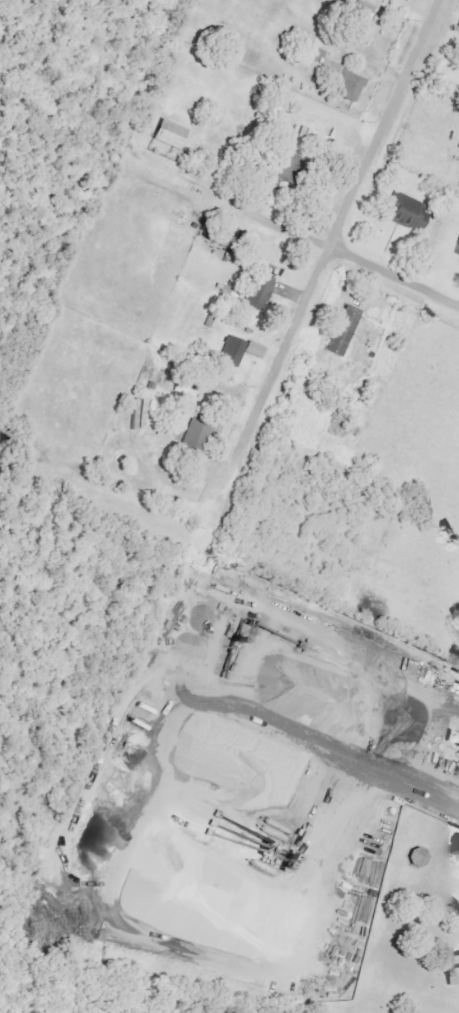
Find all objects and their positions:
building: (360, 10)
building: (309, 52)
road: (381, 124)
building: (166, 133)
building: (457, 144)
building: (402, 210)
road: (271, 227)
building: (457, 249)
road: (393, 277)
building: (255, 291)
building: (339, 330)
building: (235, 350)
road: (282, 352)
building: (136, 413)
building: (193, 436)
building: (450, 970)

